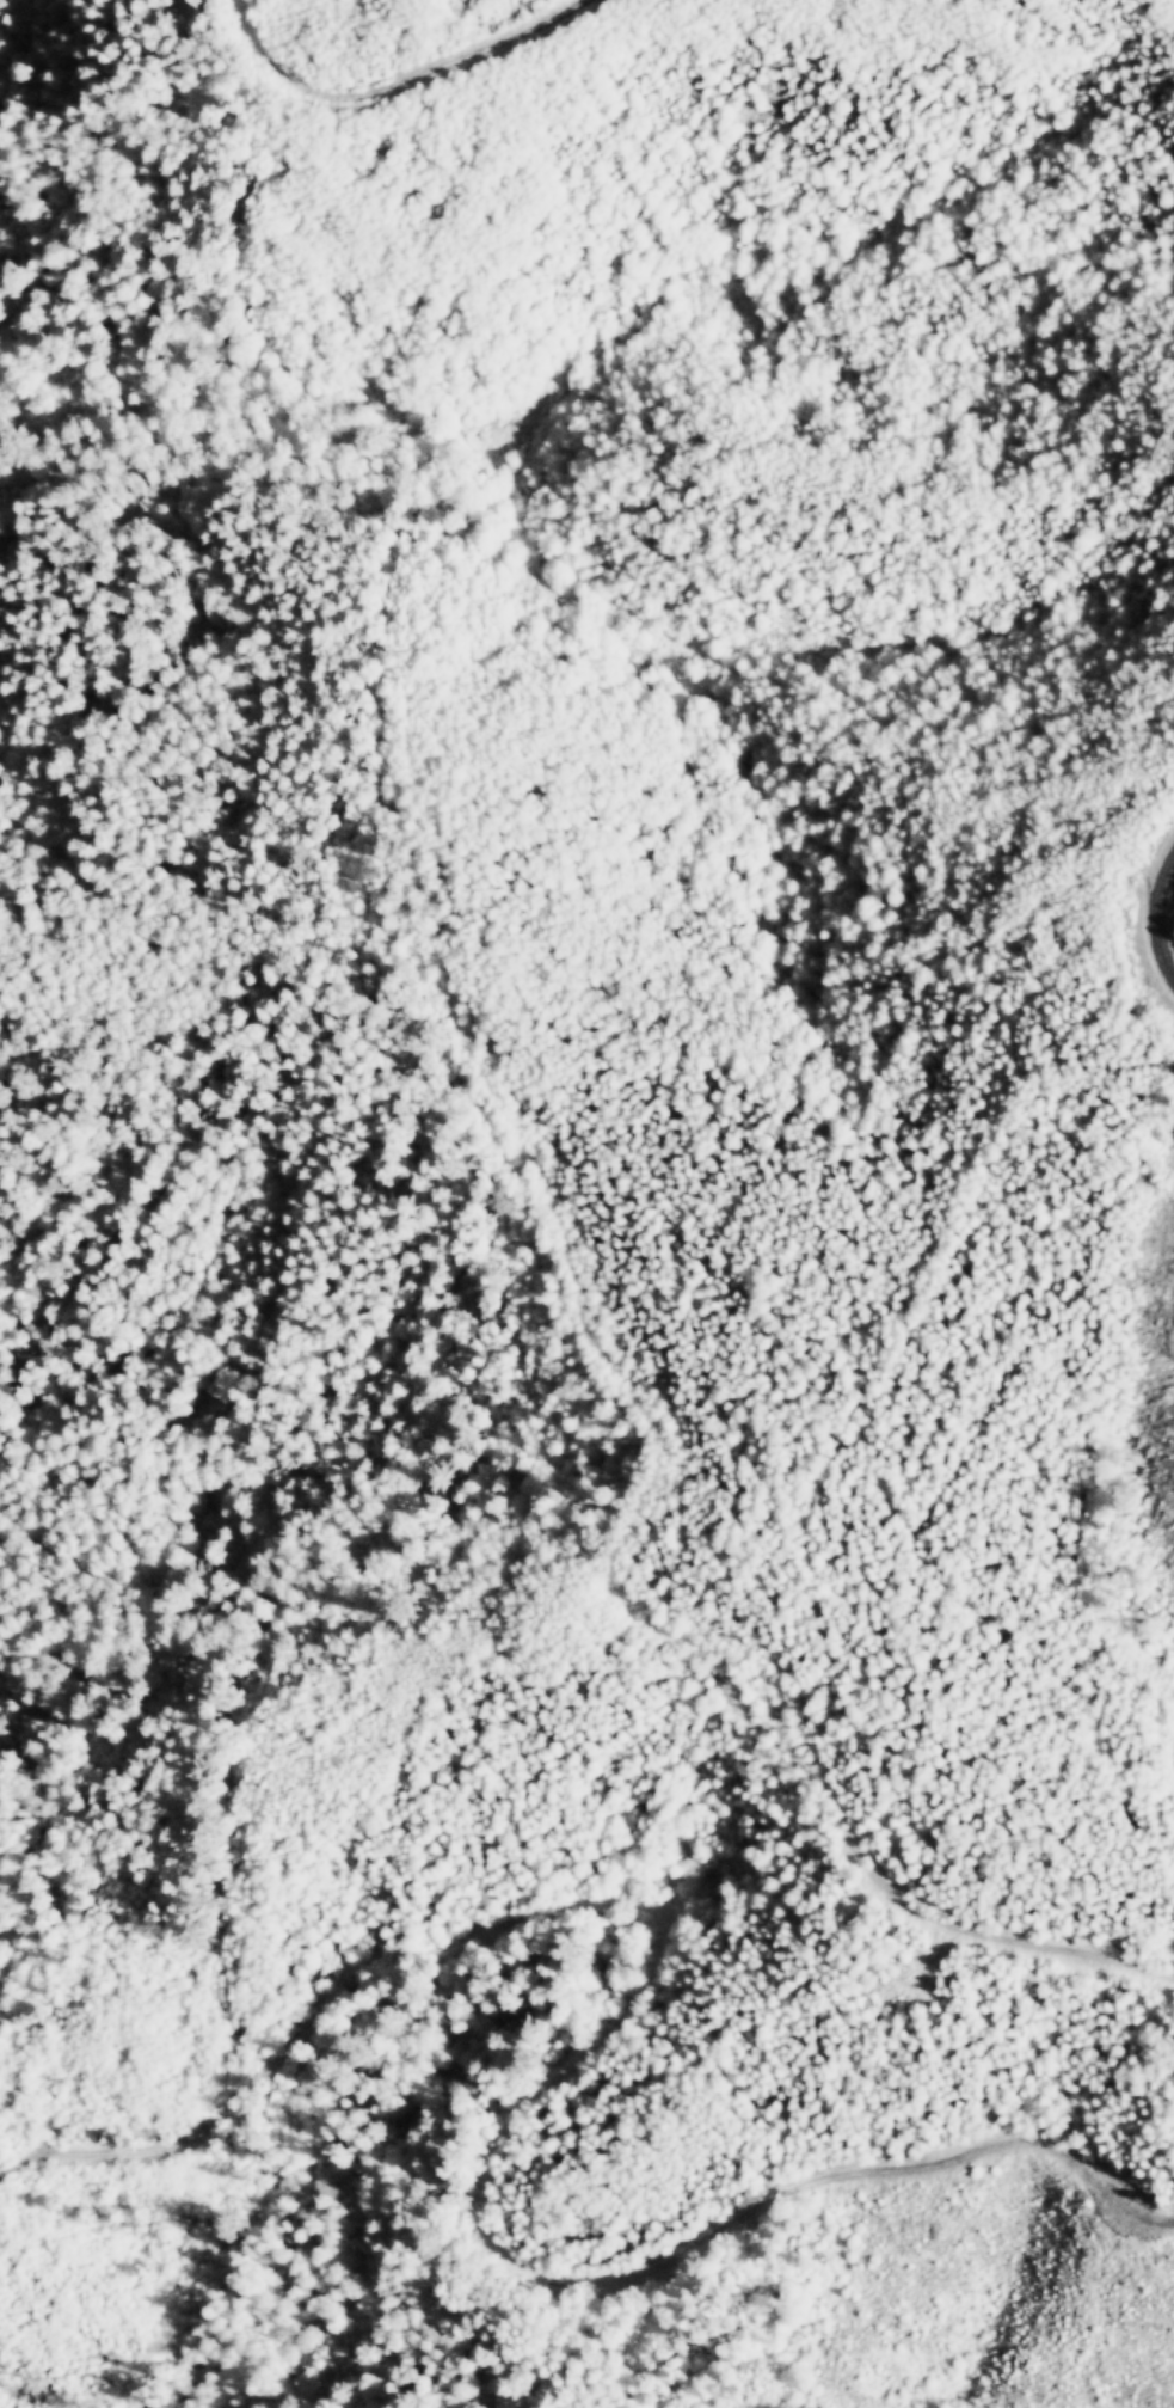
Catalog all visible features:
road: (437, 94)
road: (688, 1632)
road: (558, 2073)

